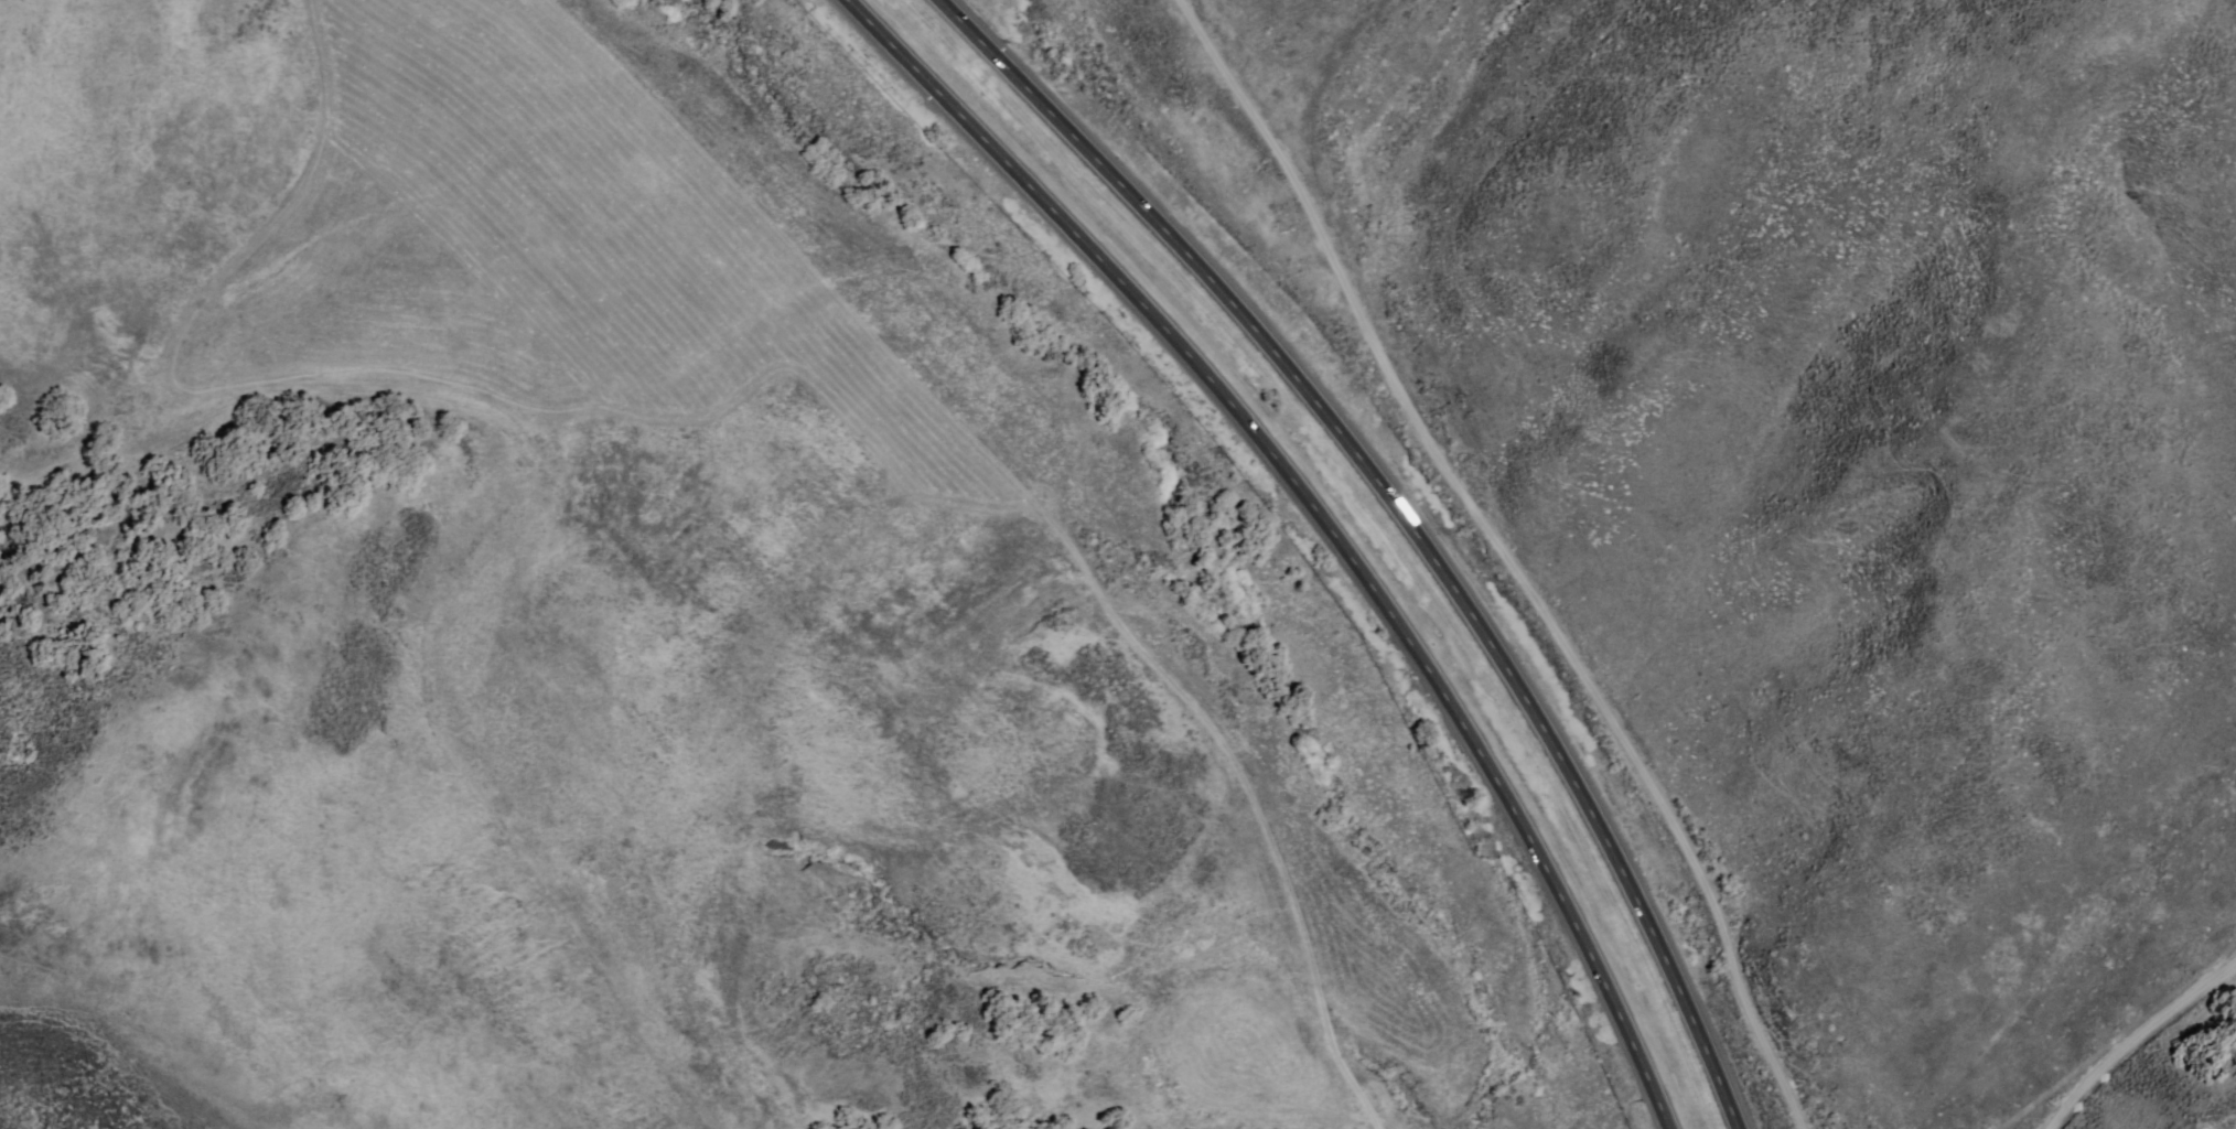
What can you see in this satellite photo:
road: (1322, 518)
road: (1404, 518)
road: (1509, 557)

